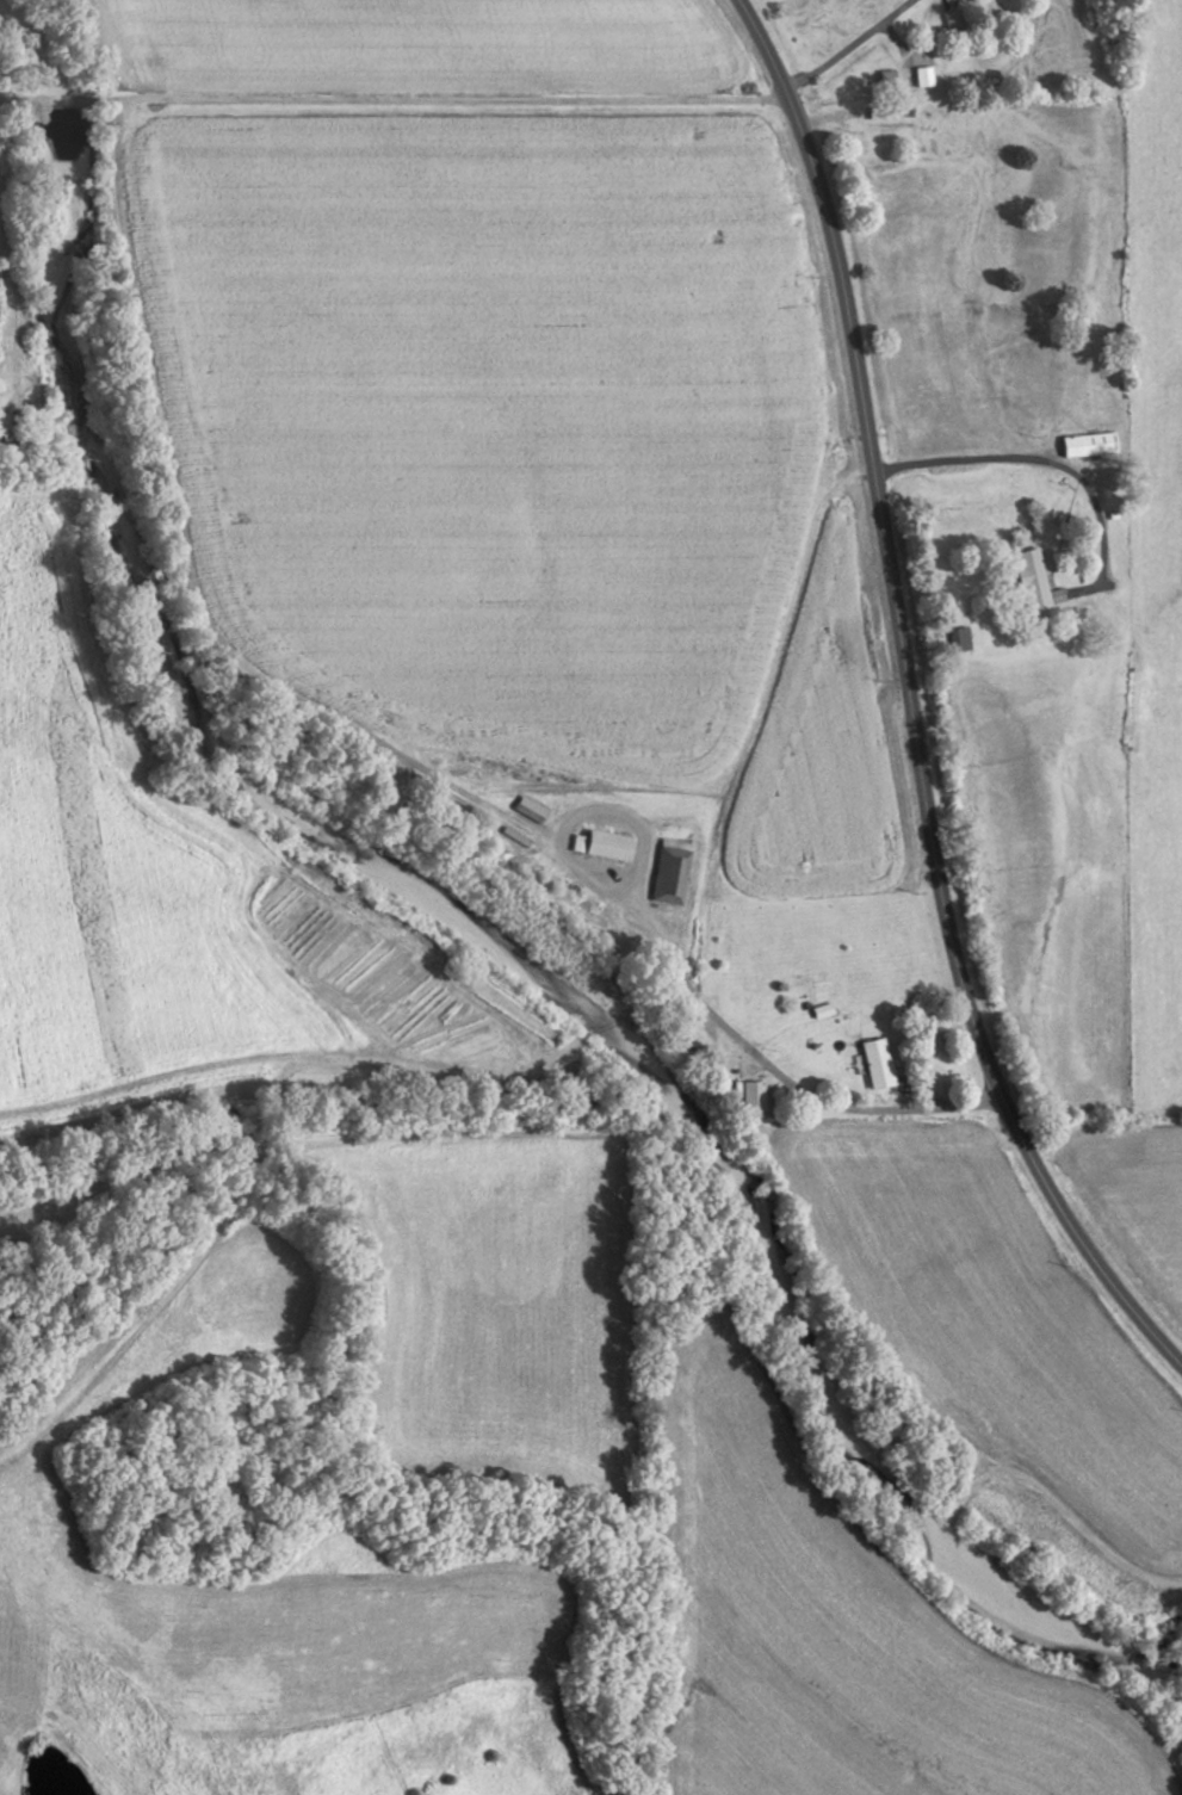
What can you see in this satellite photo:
building: (954, 18)
road: (846, 47)
building: (923, 76)
building: (886, 78)
road: (410, 100)
building: (881, 112)
building: (1089, 444)
road: (1045, 462)
building: (1035, 582)
building: (960, 639)
road: (908, 702)
building: (609, 846)
building: (672, 872)
road: (682, 973)
building: (878, 1063)
building: (754, 1088)

